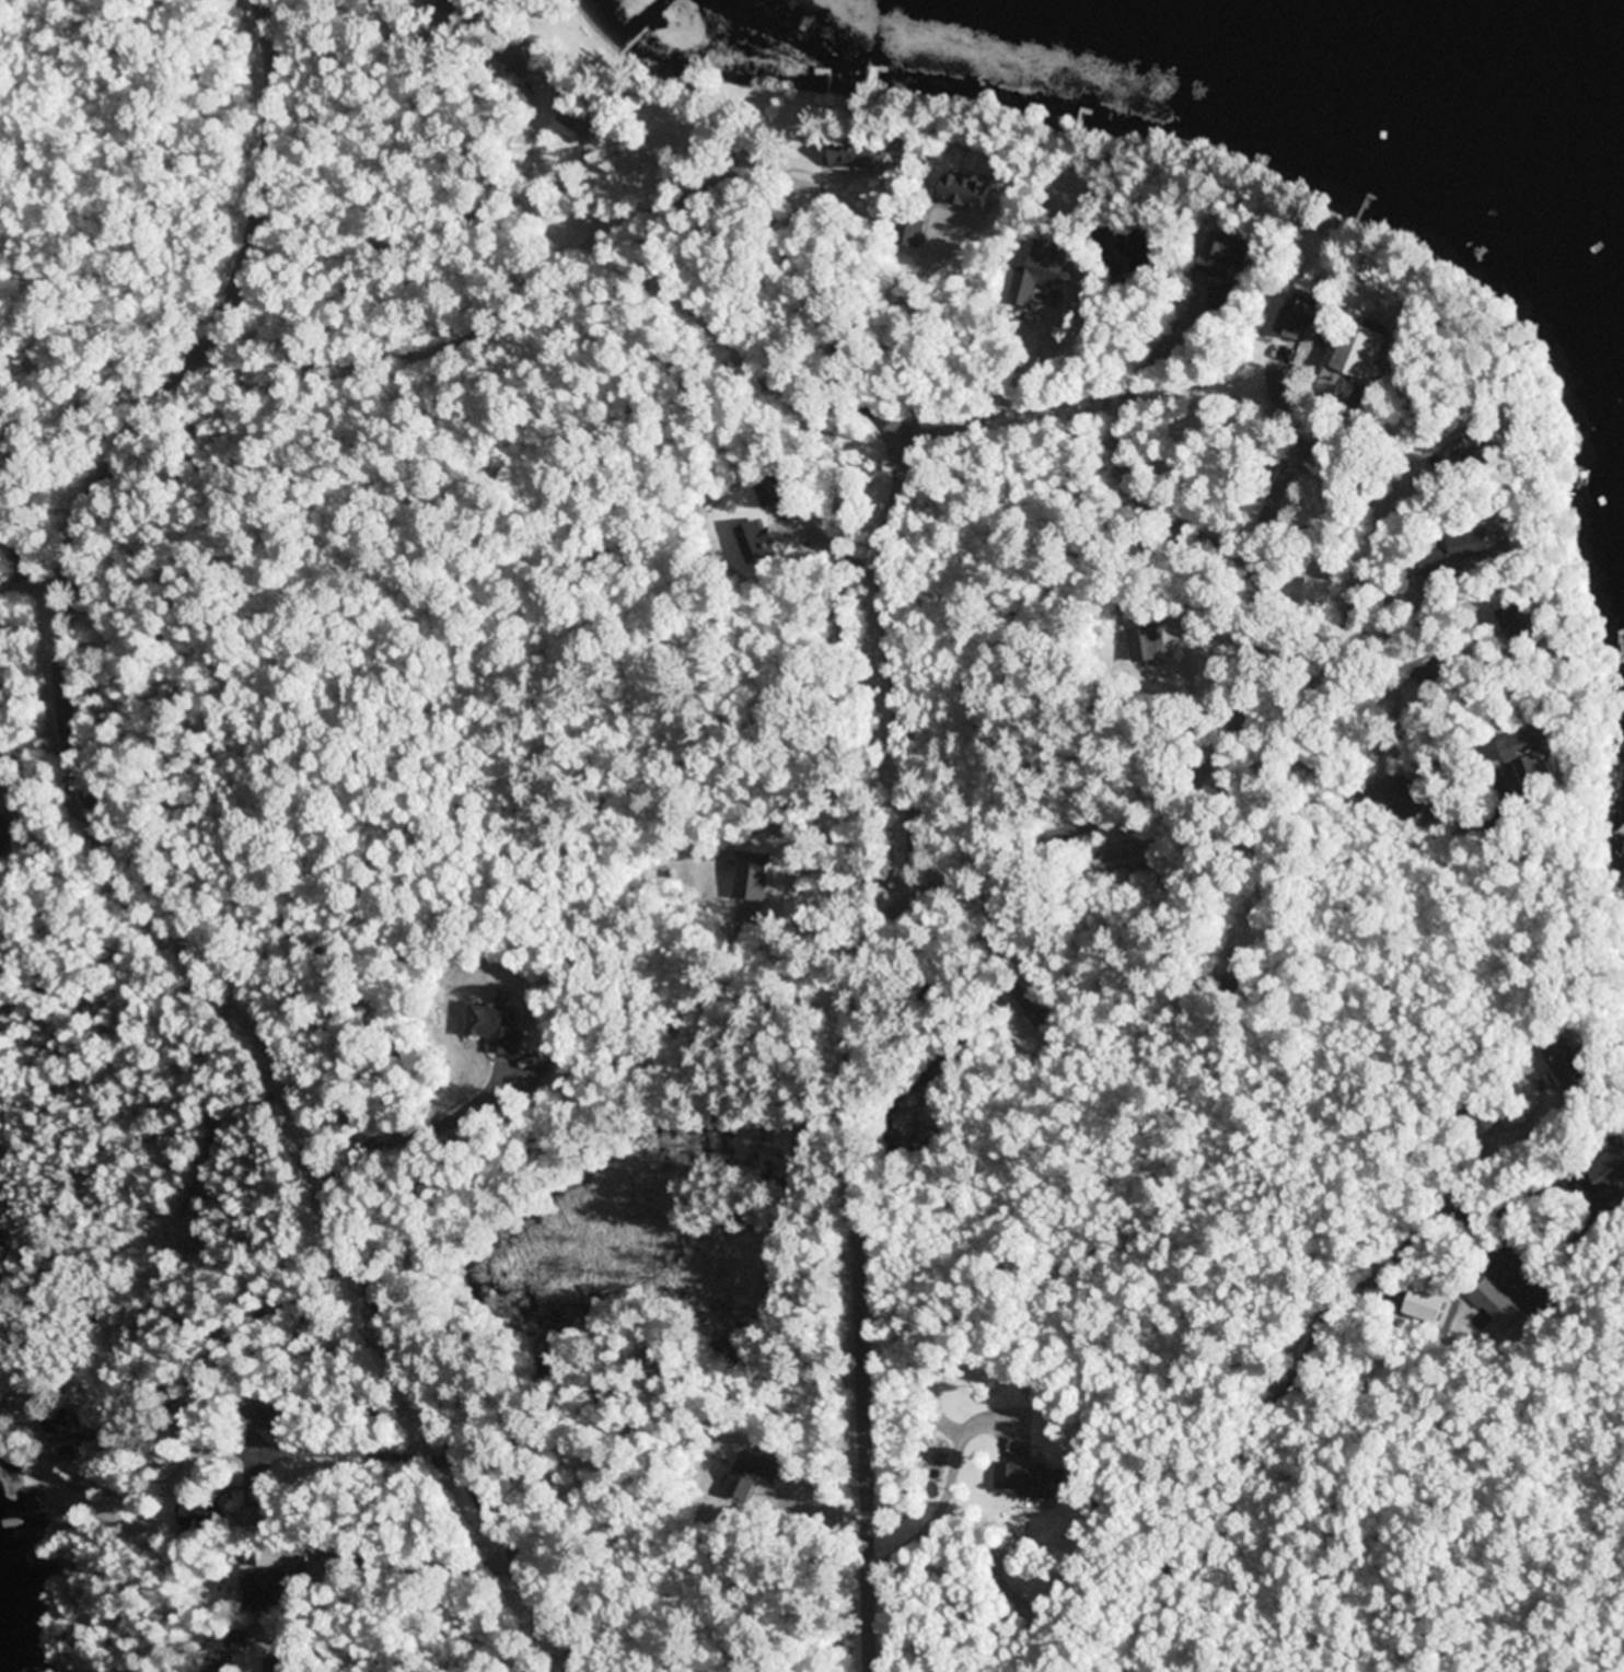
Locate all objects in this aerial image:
building: (445, 3)
building: (506, 57)
building: (855, 153)
building: (970, 189)
building: (912, 229)
building: (1225, 256)
building: (1302, 318)
building: (1358, 359)
building: (1473, 543)
road: (35, 585)
building: (1319, 593)
building: (1147, 645)
road: (893, 667)
building: (1528, 745)
building: (3, 835)
road: (146, 860)
road: (865, 949)
building: (1611, 1172)
building: (1492, 1302)
building: (55, 1421)
building: (1034, 1482)
building: (202, 1513)
building: (259, 1588)

